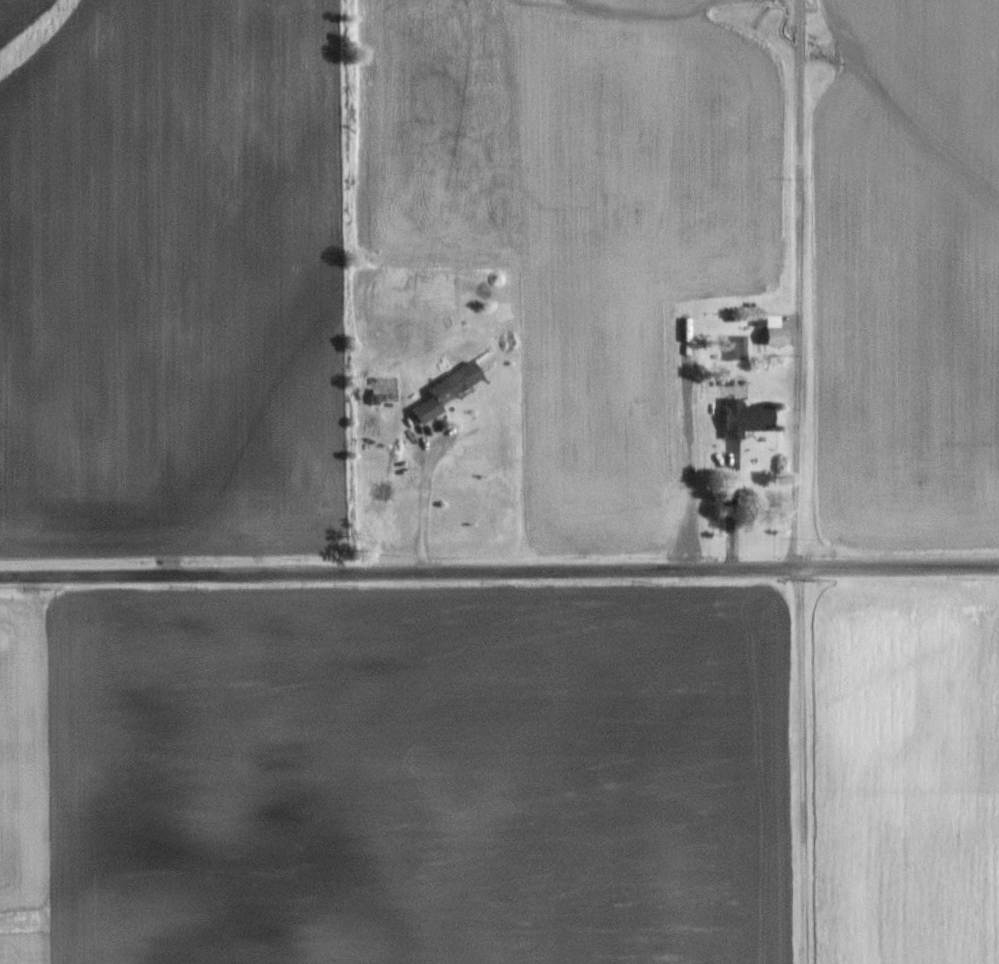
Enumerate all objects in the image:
road: (800, 283)
building: (775, 334)
building: (447, 390)
building: (745, 417)
road: (435, 512)
road: (499, 575)
road: (801, 765)

